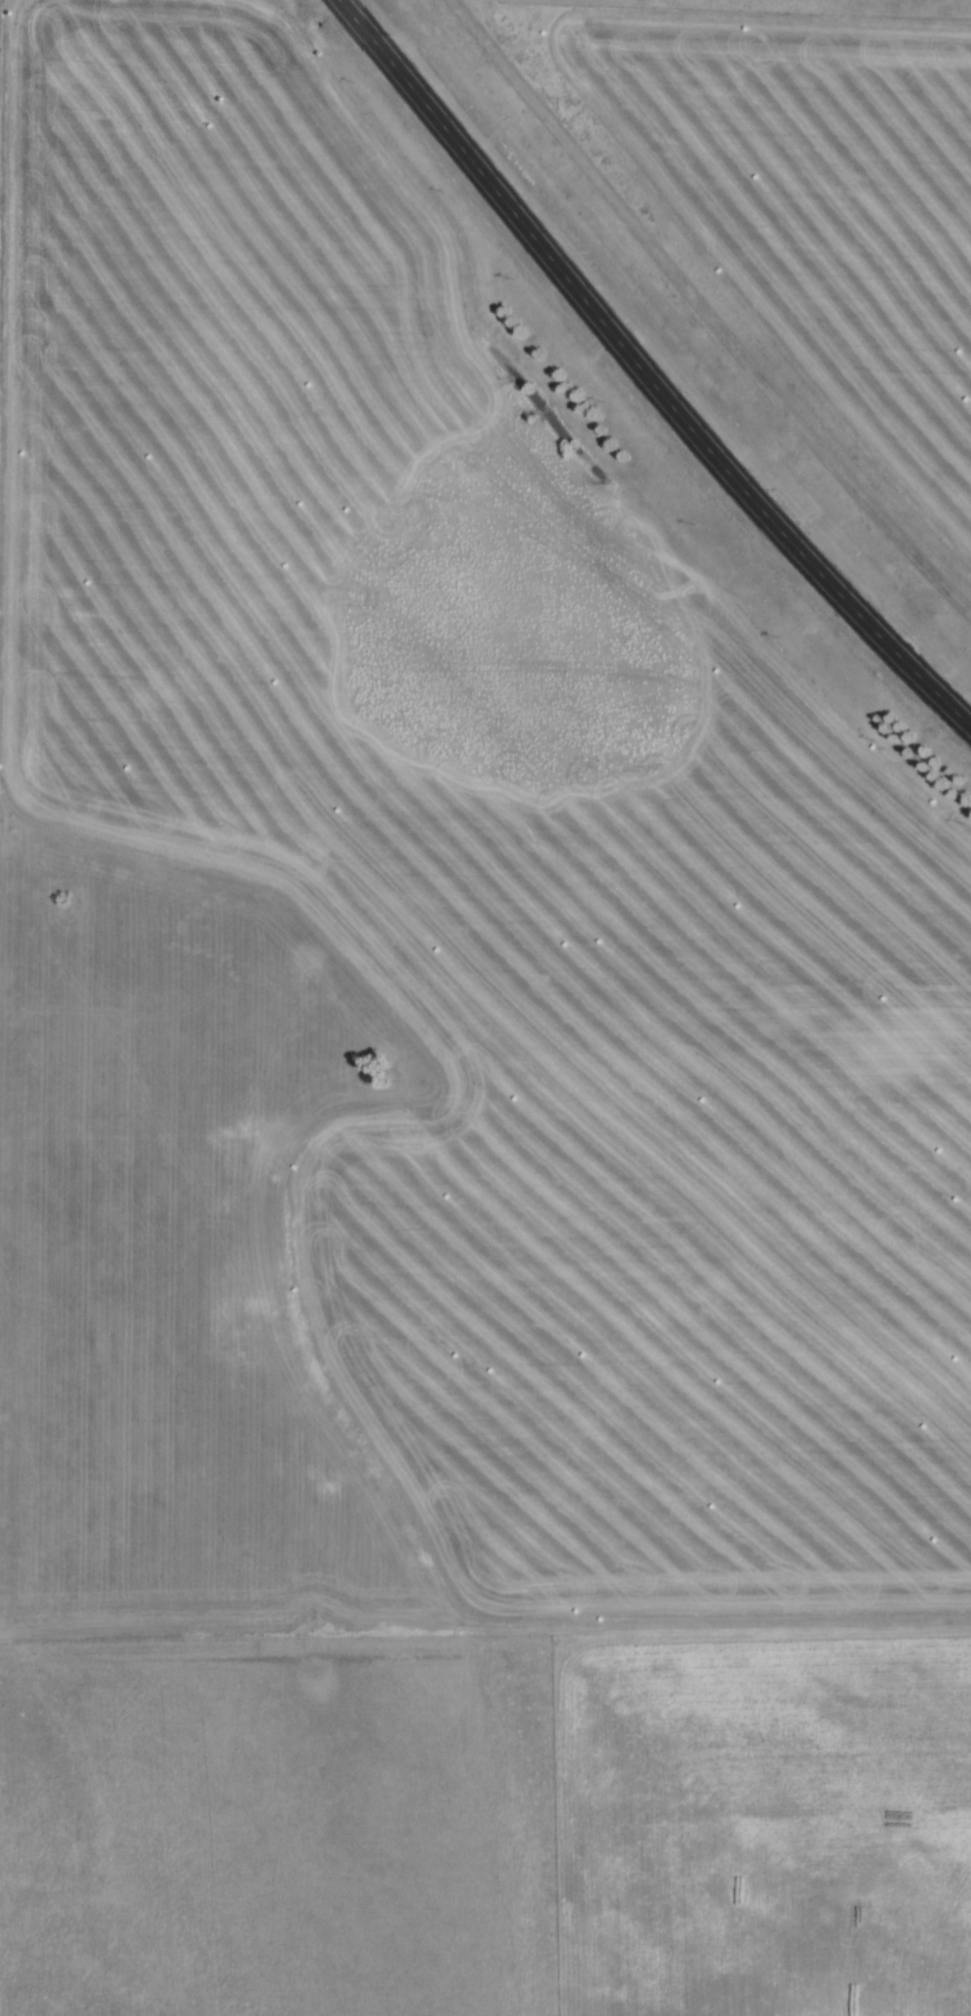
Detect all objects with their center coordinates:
road: (712, 309)
road: (645, 372)

